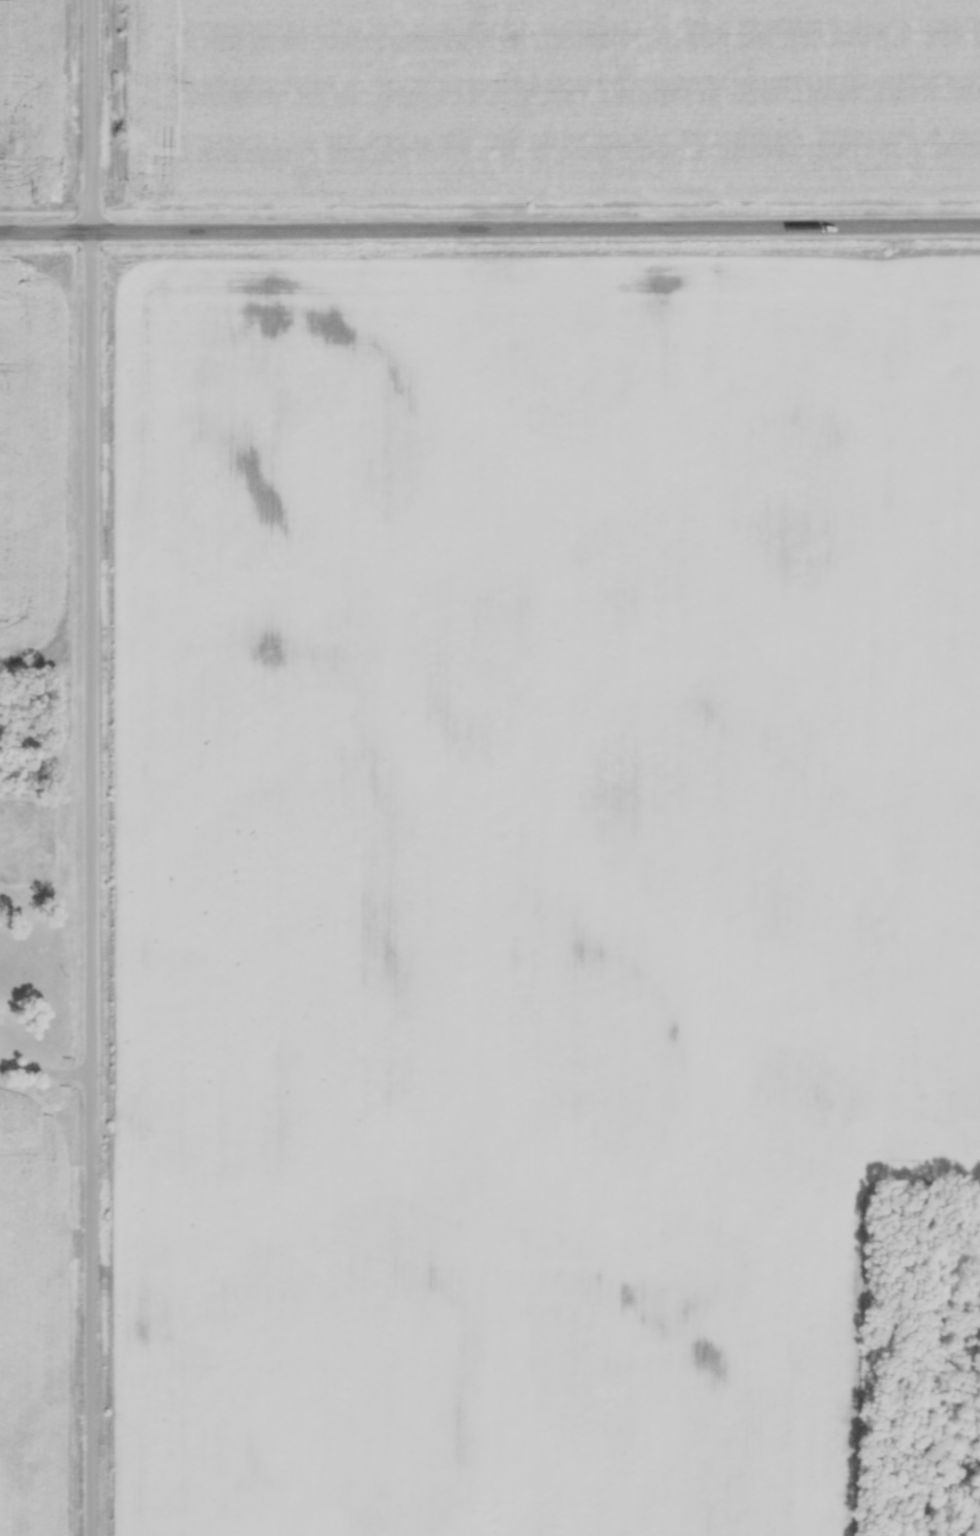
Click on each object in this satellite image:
road: (490, 231)
road: (90, 767)
road: (45, 1076)

